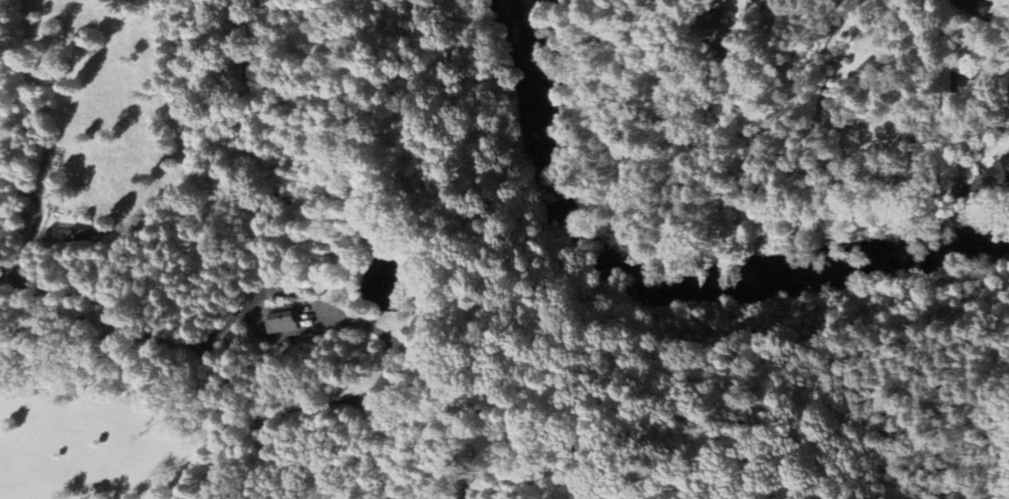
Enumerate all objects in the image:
building: (726, 27)
building: (1000, 172)
building: (85, 235)
river: (663, 282)
building: (283, 319)
road: (230, 381)
road: (544, 433)

